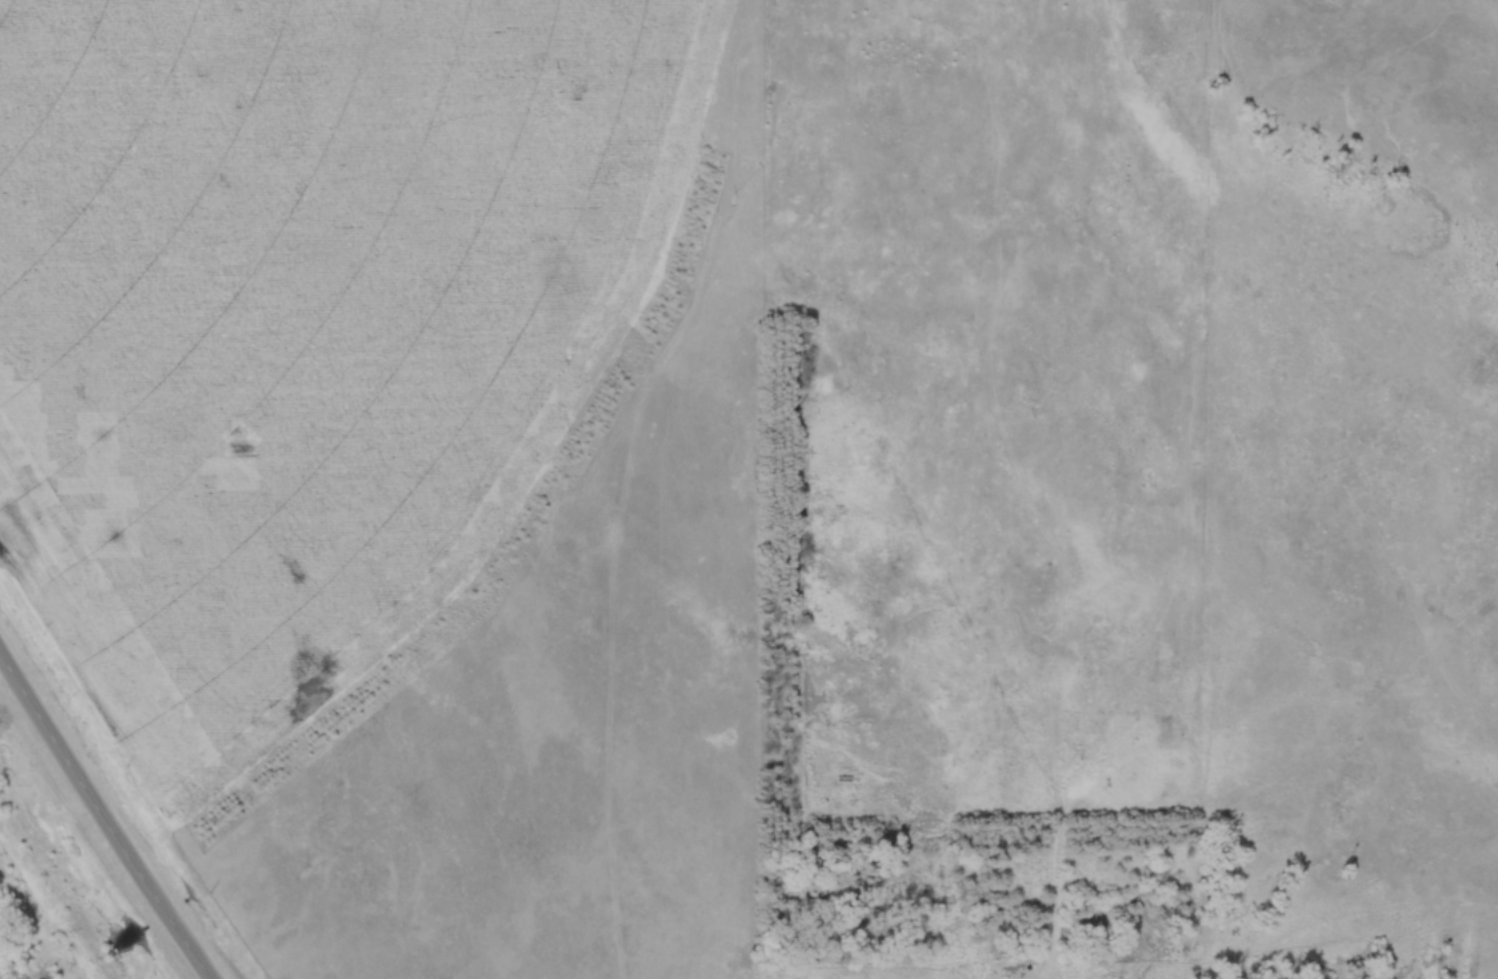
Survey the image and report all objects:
road: (103, 820)

